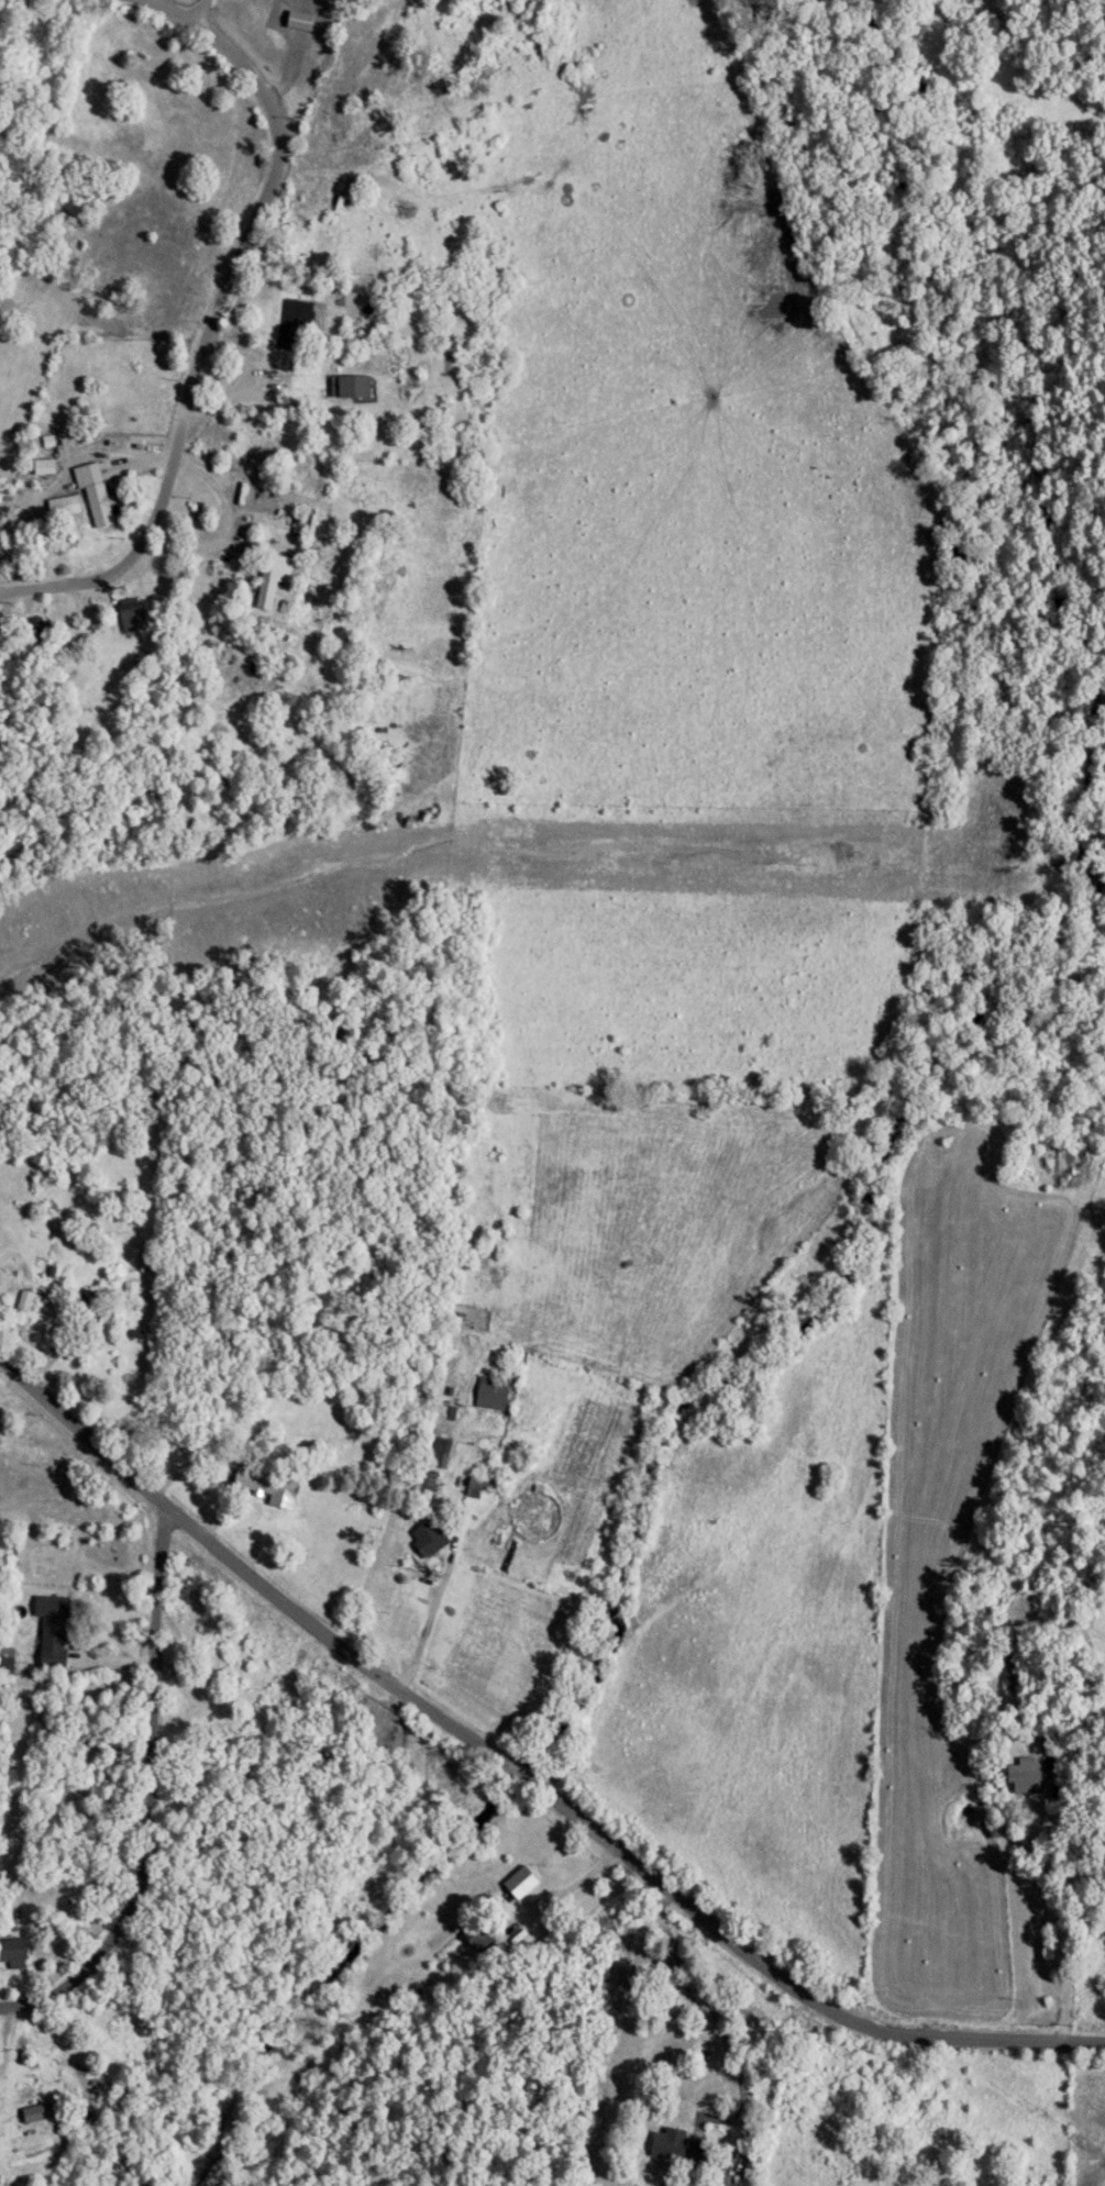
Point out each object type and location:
building: (295, 21)
road: (206, 315)
building: (349, 388)
road: (224, 402)
building: (41, 468)
building: (90, 495)
building: (60, 507)
road: (222, 525)
building: (273, 578)
building: (126, 617)
building: (128, 1290)
building: (23, 1302)
building: (487, 1394)
building: (435, 1454)
building: (420, 1485)
building: (264, 1487)
building: (474, 1489)
building: (423, 1539)
road: (439, 1595)
building: (48, 1644)
building: (209, 1653)
building: (1010, 1672)
road: (154, 1763)
road: (517, 1775)
building: (1021, 1777)
road: (76, 1789)
road: (578, 1885)
road: (1067, 1923)
building: (478, 1941)
building: (11, 1955)
road: (35, 2005)
building: (32, 2115)
building: (672, 2148)

